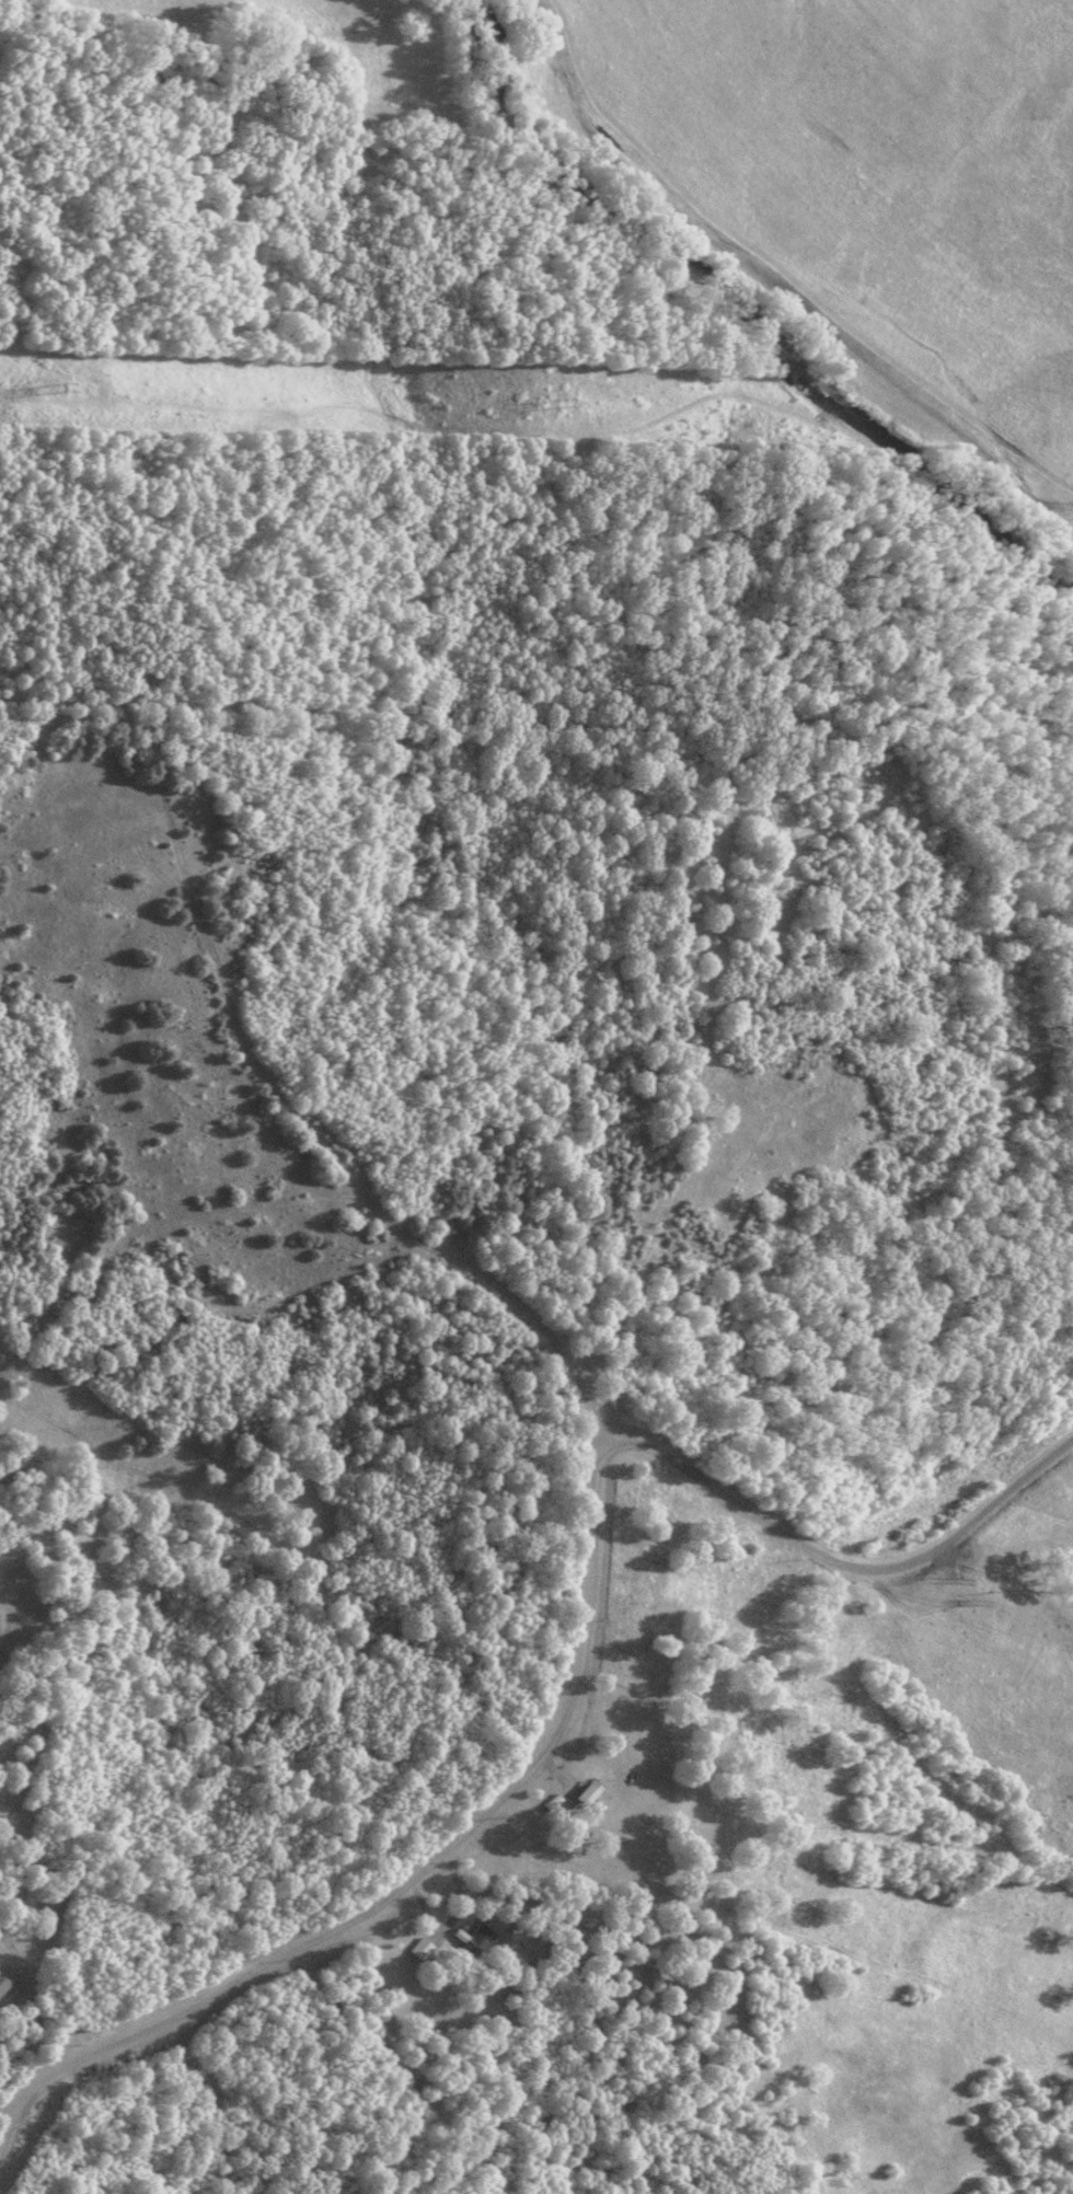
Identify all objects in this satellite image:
power tower: (56, 383)
power tower: (544, 394)
building: (586, 1792)
building: (475, 1940)
building: (419, 1947)
building: (4, 1977)

